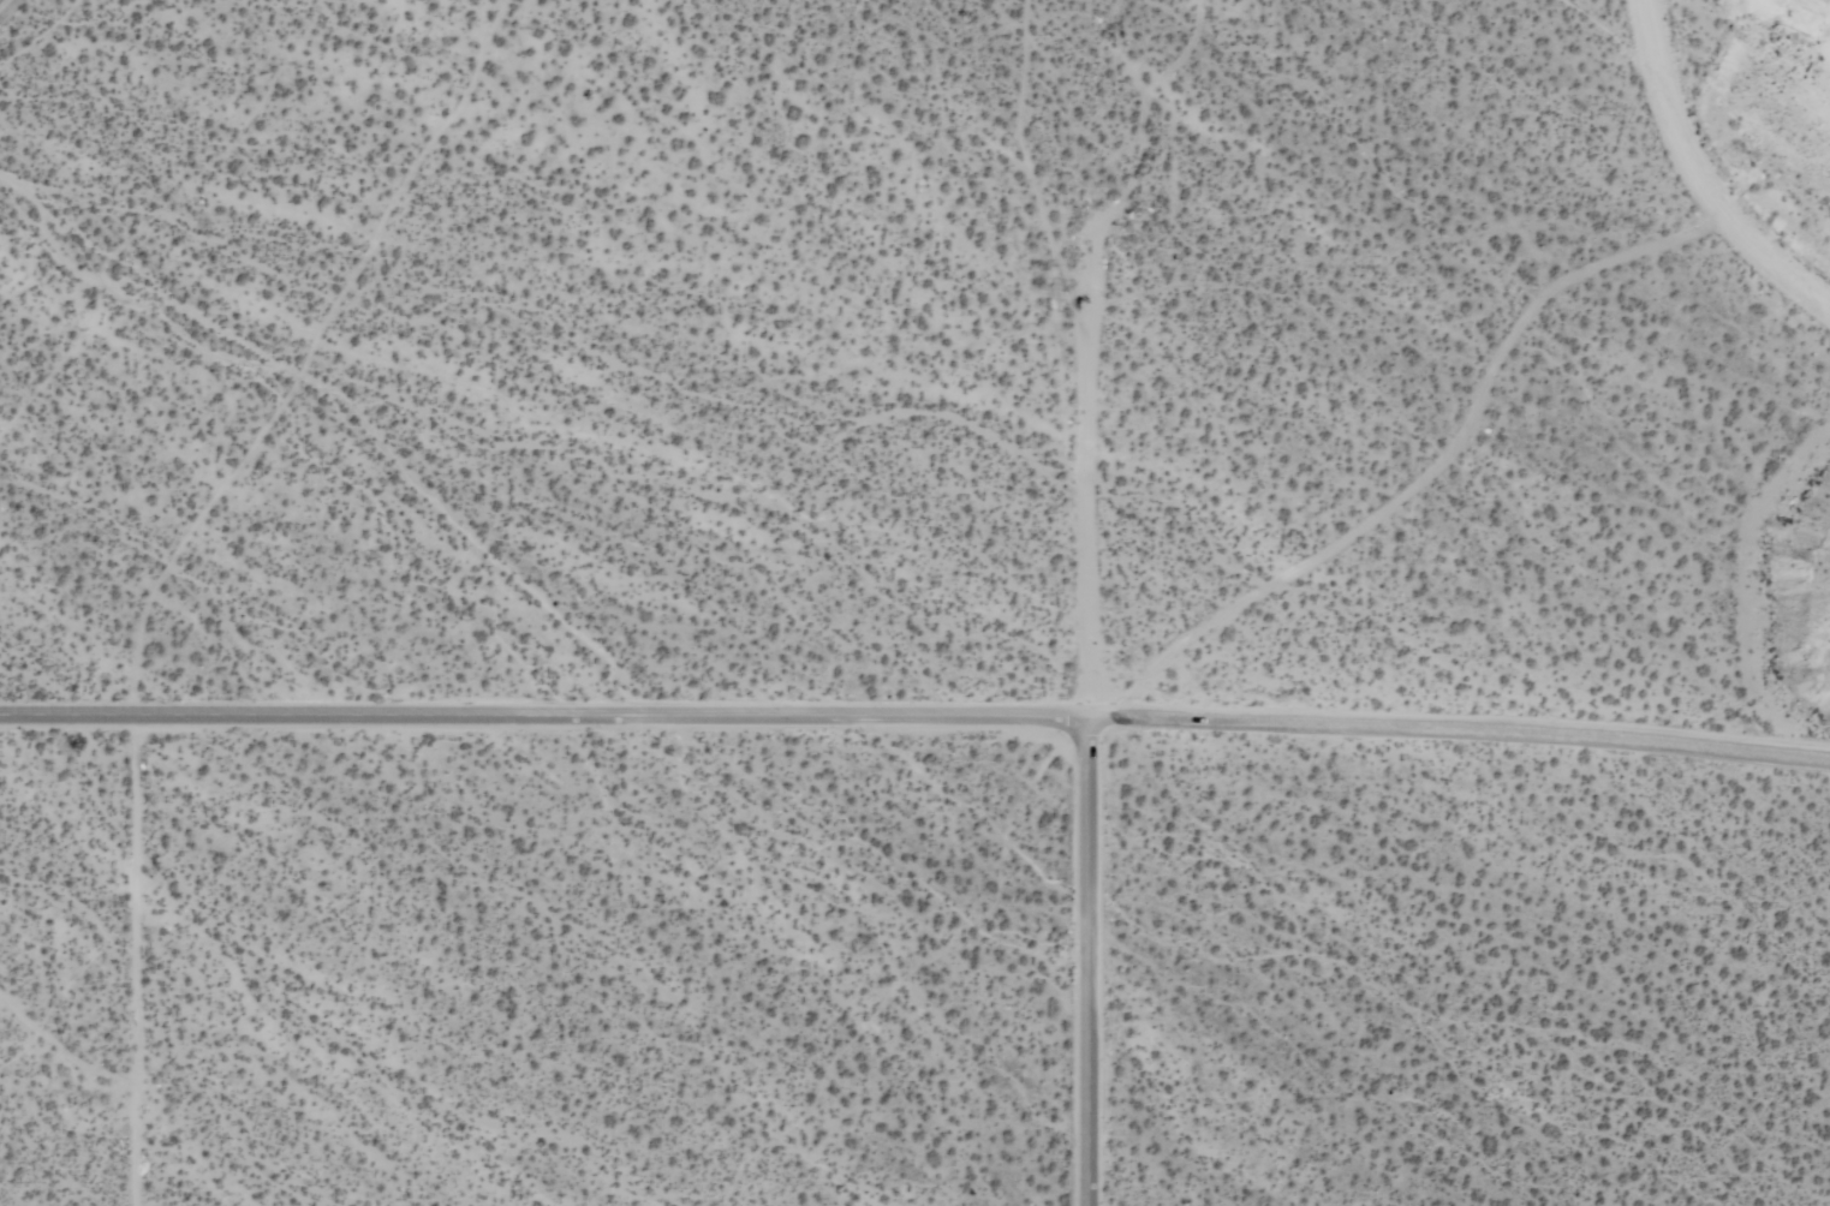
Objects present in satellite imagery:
quarry: (1822, 48)
road: (1700, 177)
road: (543, 715)
road: (1458, 730)
road: (136, 960)
road: (1086, 961)

